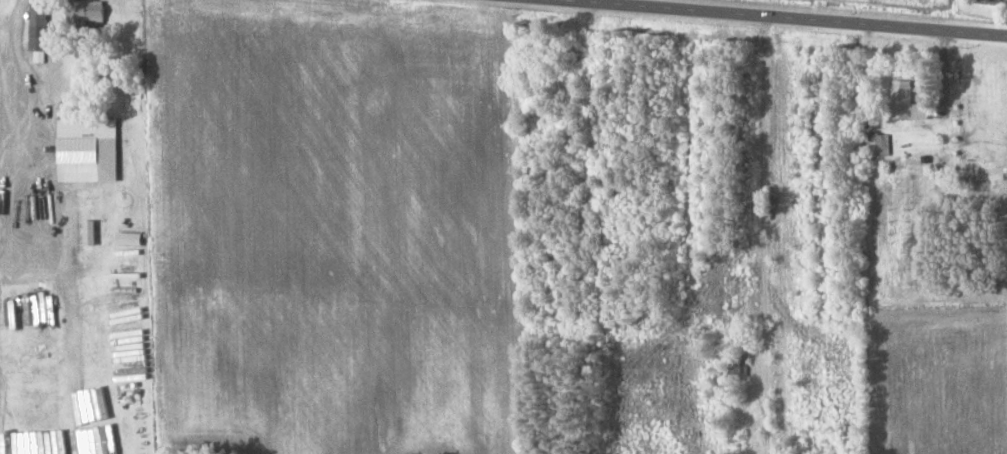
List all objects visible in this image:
road: (968, 3)
building: (89, 11)
building: (40, 26)
building: (907, 102)
building: (878, 145)
building: (81, 150)
road: (715, 201)

